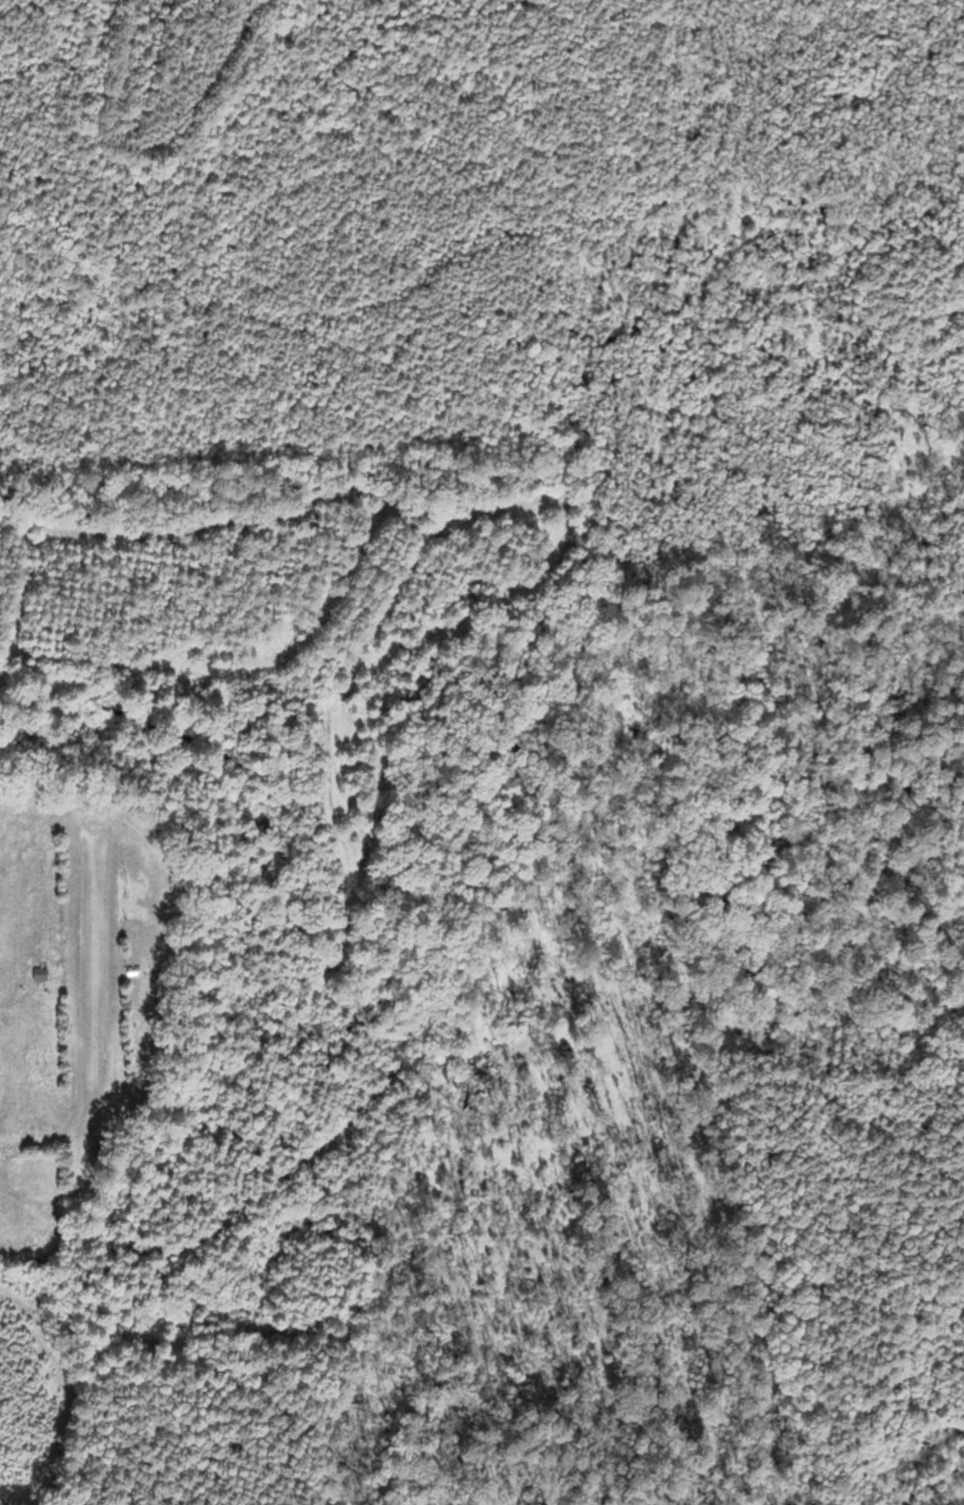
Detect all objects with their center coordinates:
building: (39, 975)

